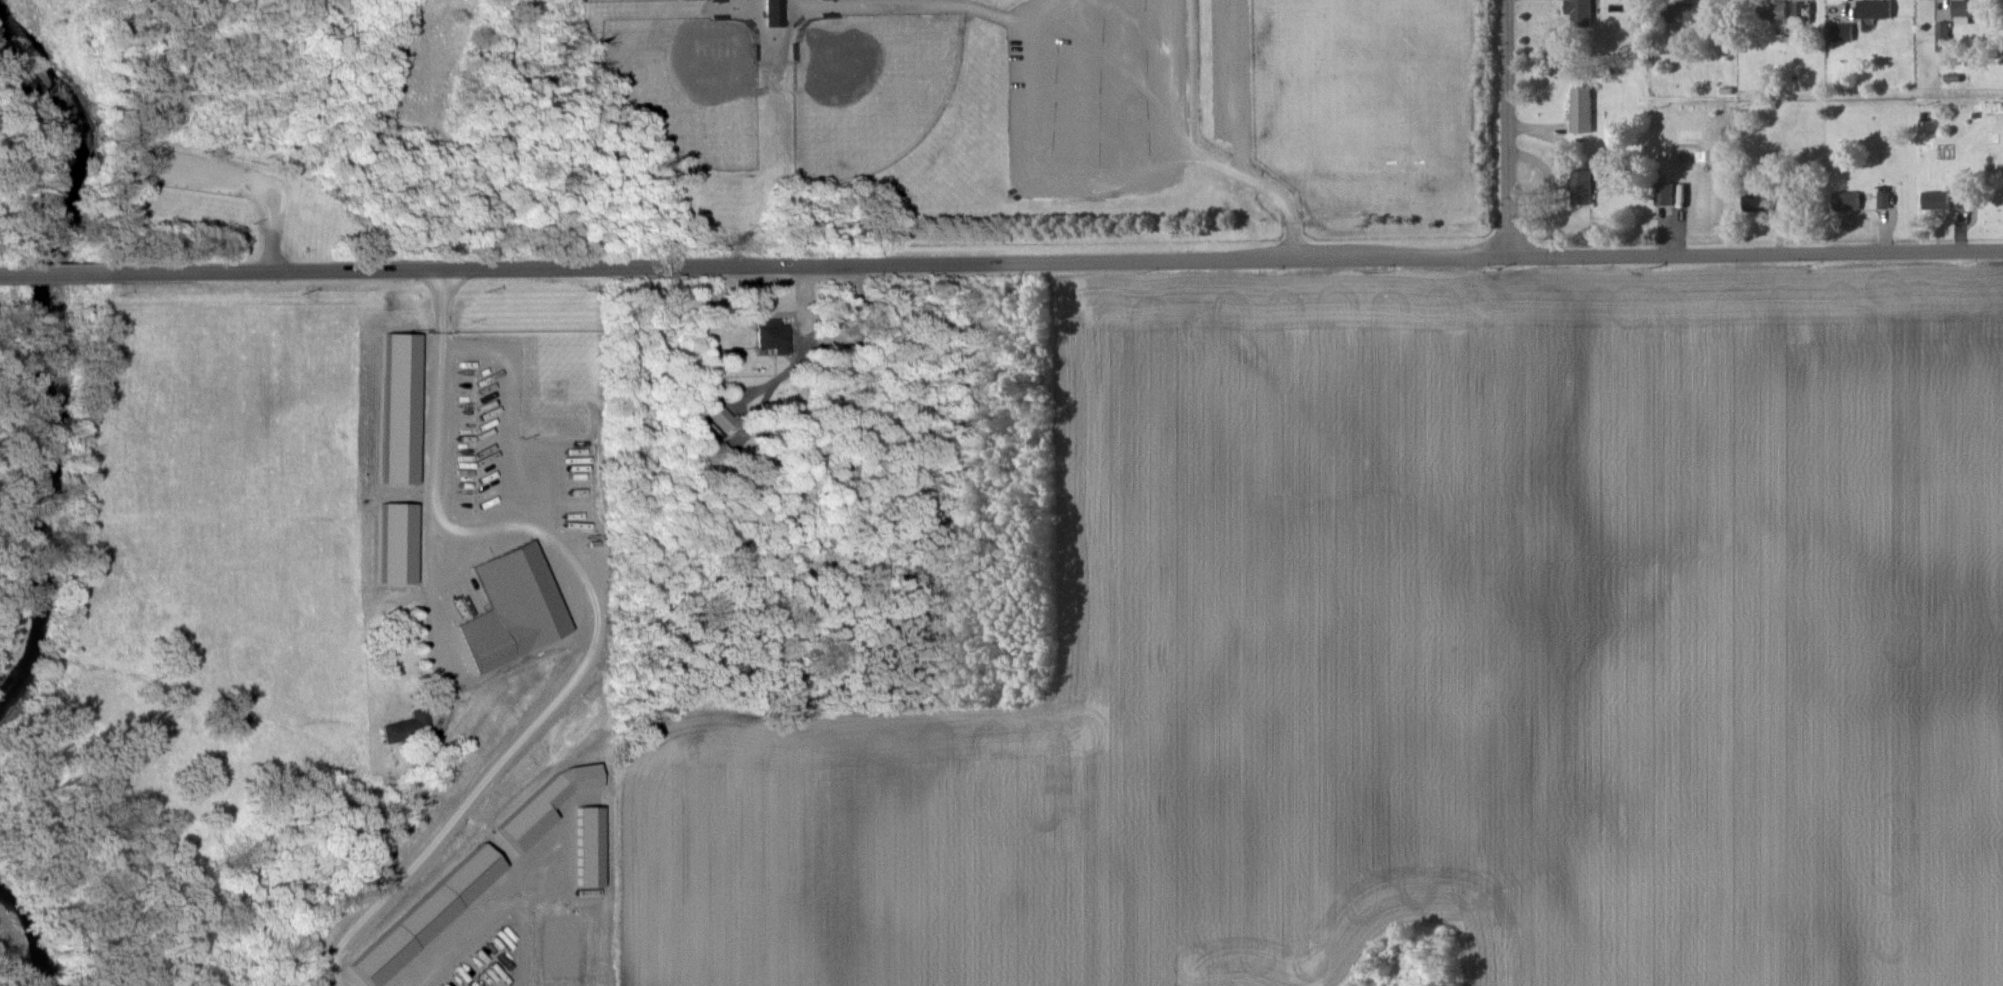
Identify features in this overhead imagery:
building: (1875, 8)
building: (1967, 8)
building: (1773, 10)
building: (1797, 10)
building: (1579, 12)
building: (1684, 12)
building: (773, 13)
building: (1842, 32)
building: (1581, 109)
road: (1507, 129)
road: (307, 135)
road: (1032, 153)
building: (1580, 187)
building: (1664, 193)
building: (1935, 199)
building: (1960, 199)
building: (1846, 200)
building: (1883, 200)
building: (1756, 202)
road: (1063, 263)
road: (62, 274)
building: (769, 334)
building: (399, 409)
road: (915, 415)
building: (719, 417)
road: (436, 467)
road: (482, 524)
building: (396, 543)
building: (512, 608)
road: (585, 673)
building: (406, 727)
building: (544, 804)
building: (426, 916)

